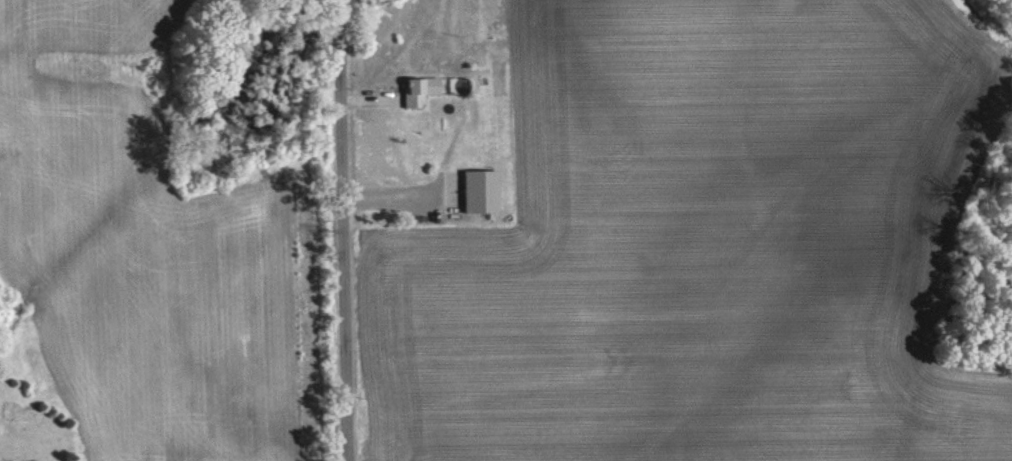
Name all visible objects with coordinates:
road: (341, 230)
building: (52, 448)

